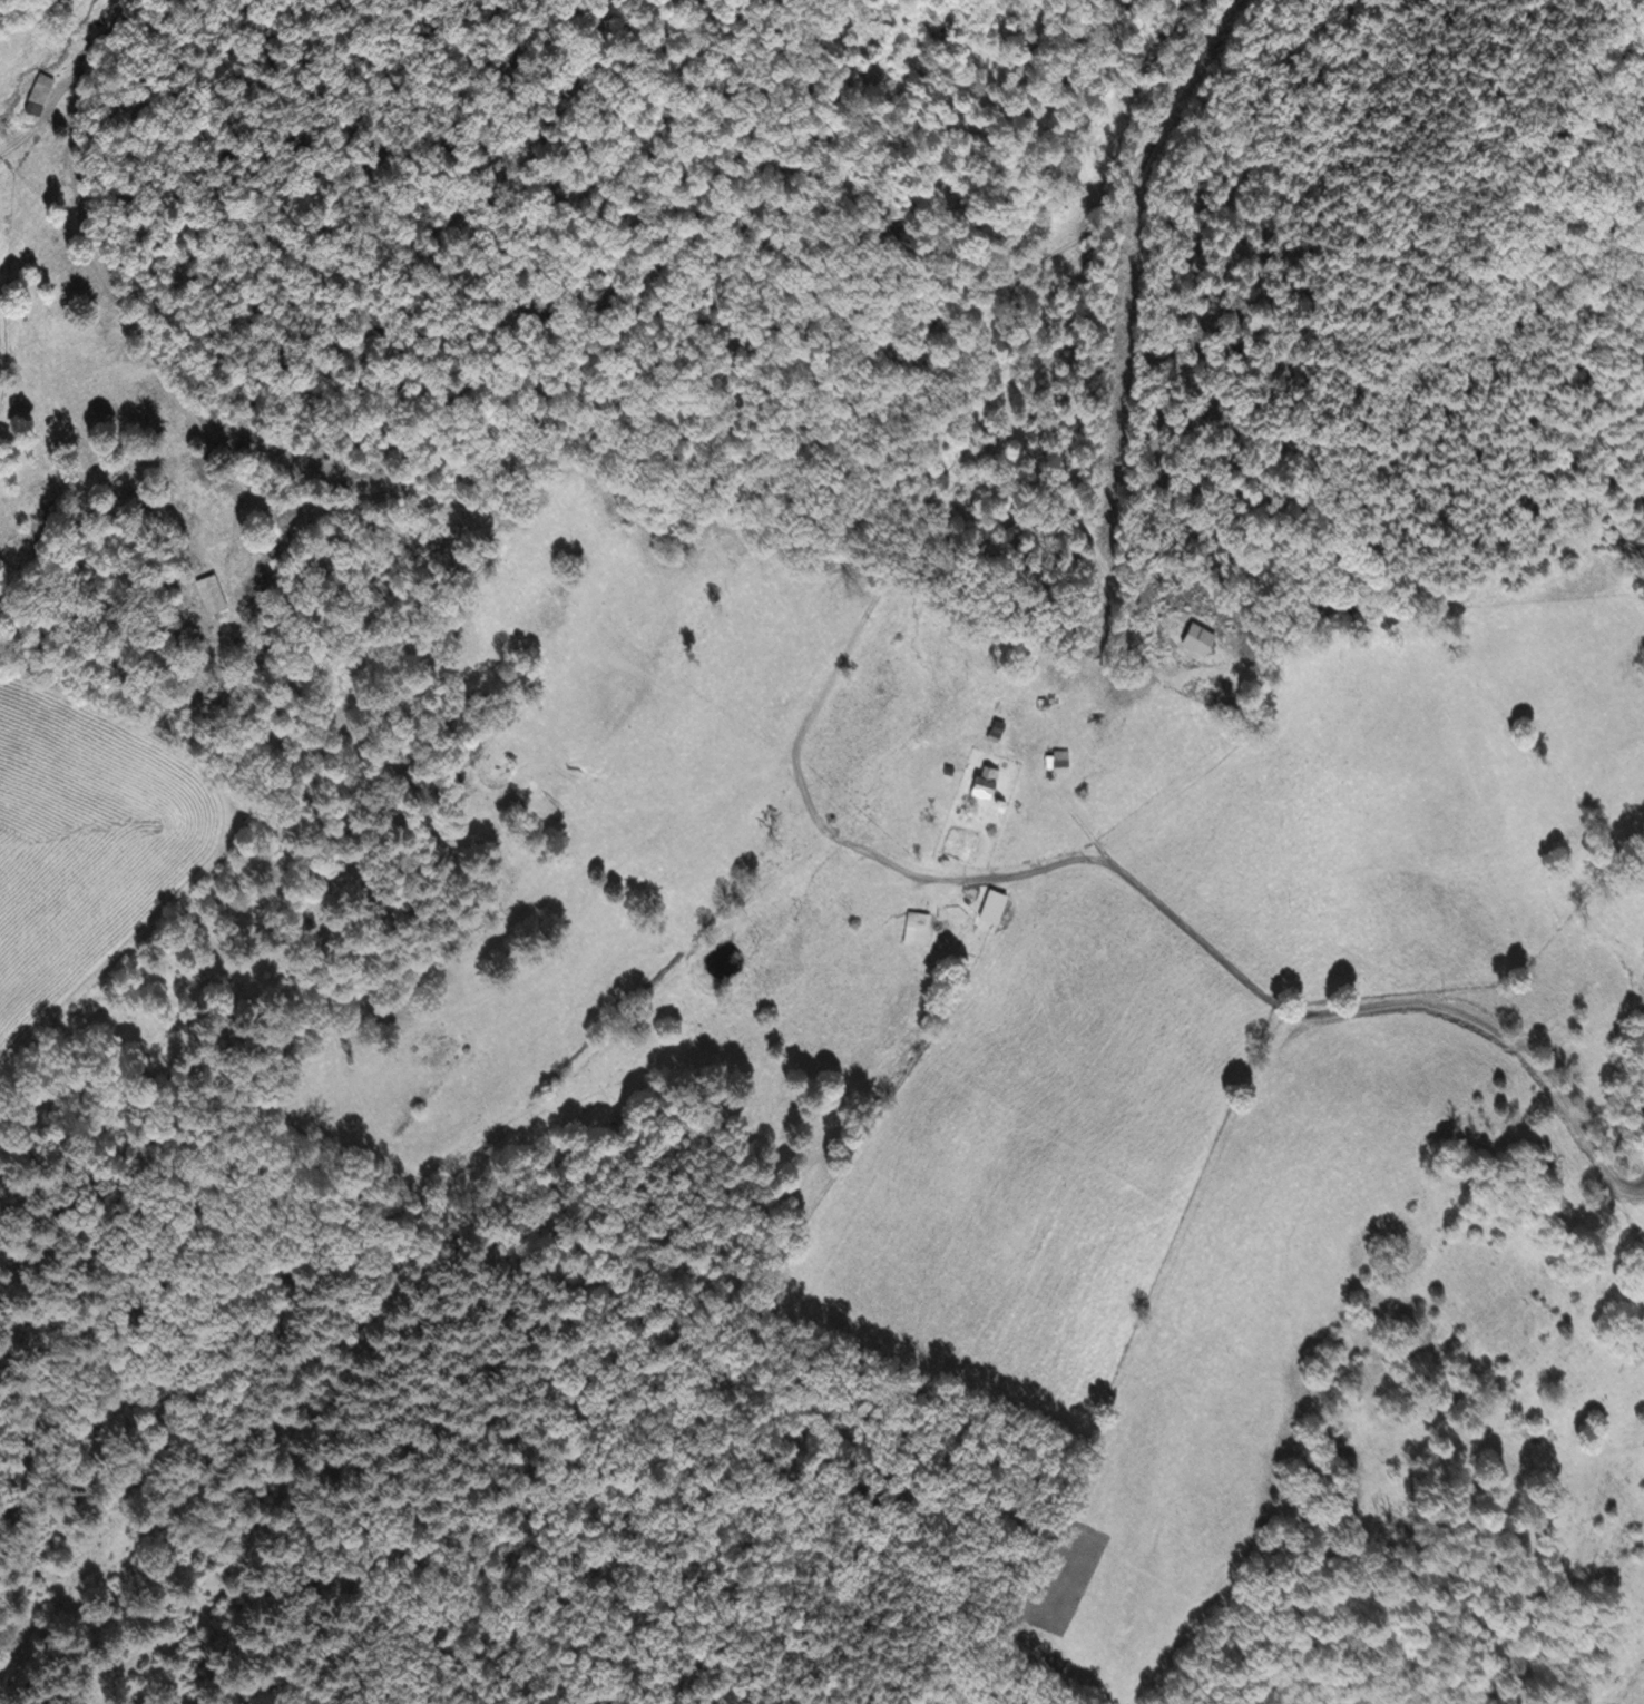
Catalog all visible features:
building: (39, 92)
road: (937, 435)
road: (311, 497)
building: (1197, 637)
building: (997, 729)
building: (1060, 760)
building: (948, 768)
building: (986, 778)
building: (991, 903)
building: (917, 927)
road: (1292, 1013)
road: (1640, 1101)
road: (383, 1222)

